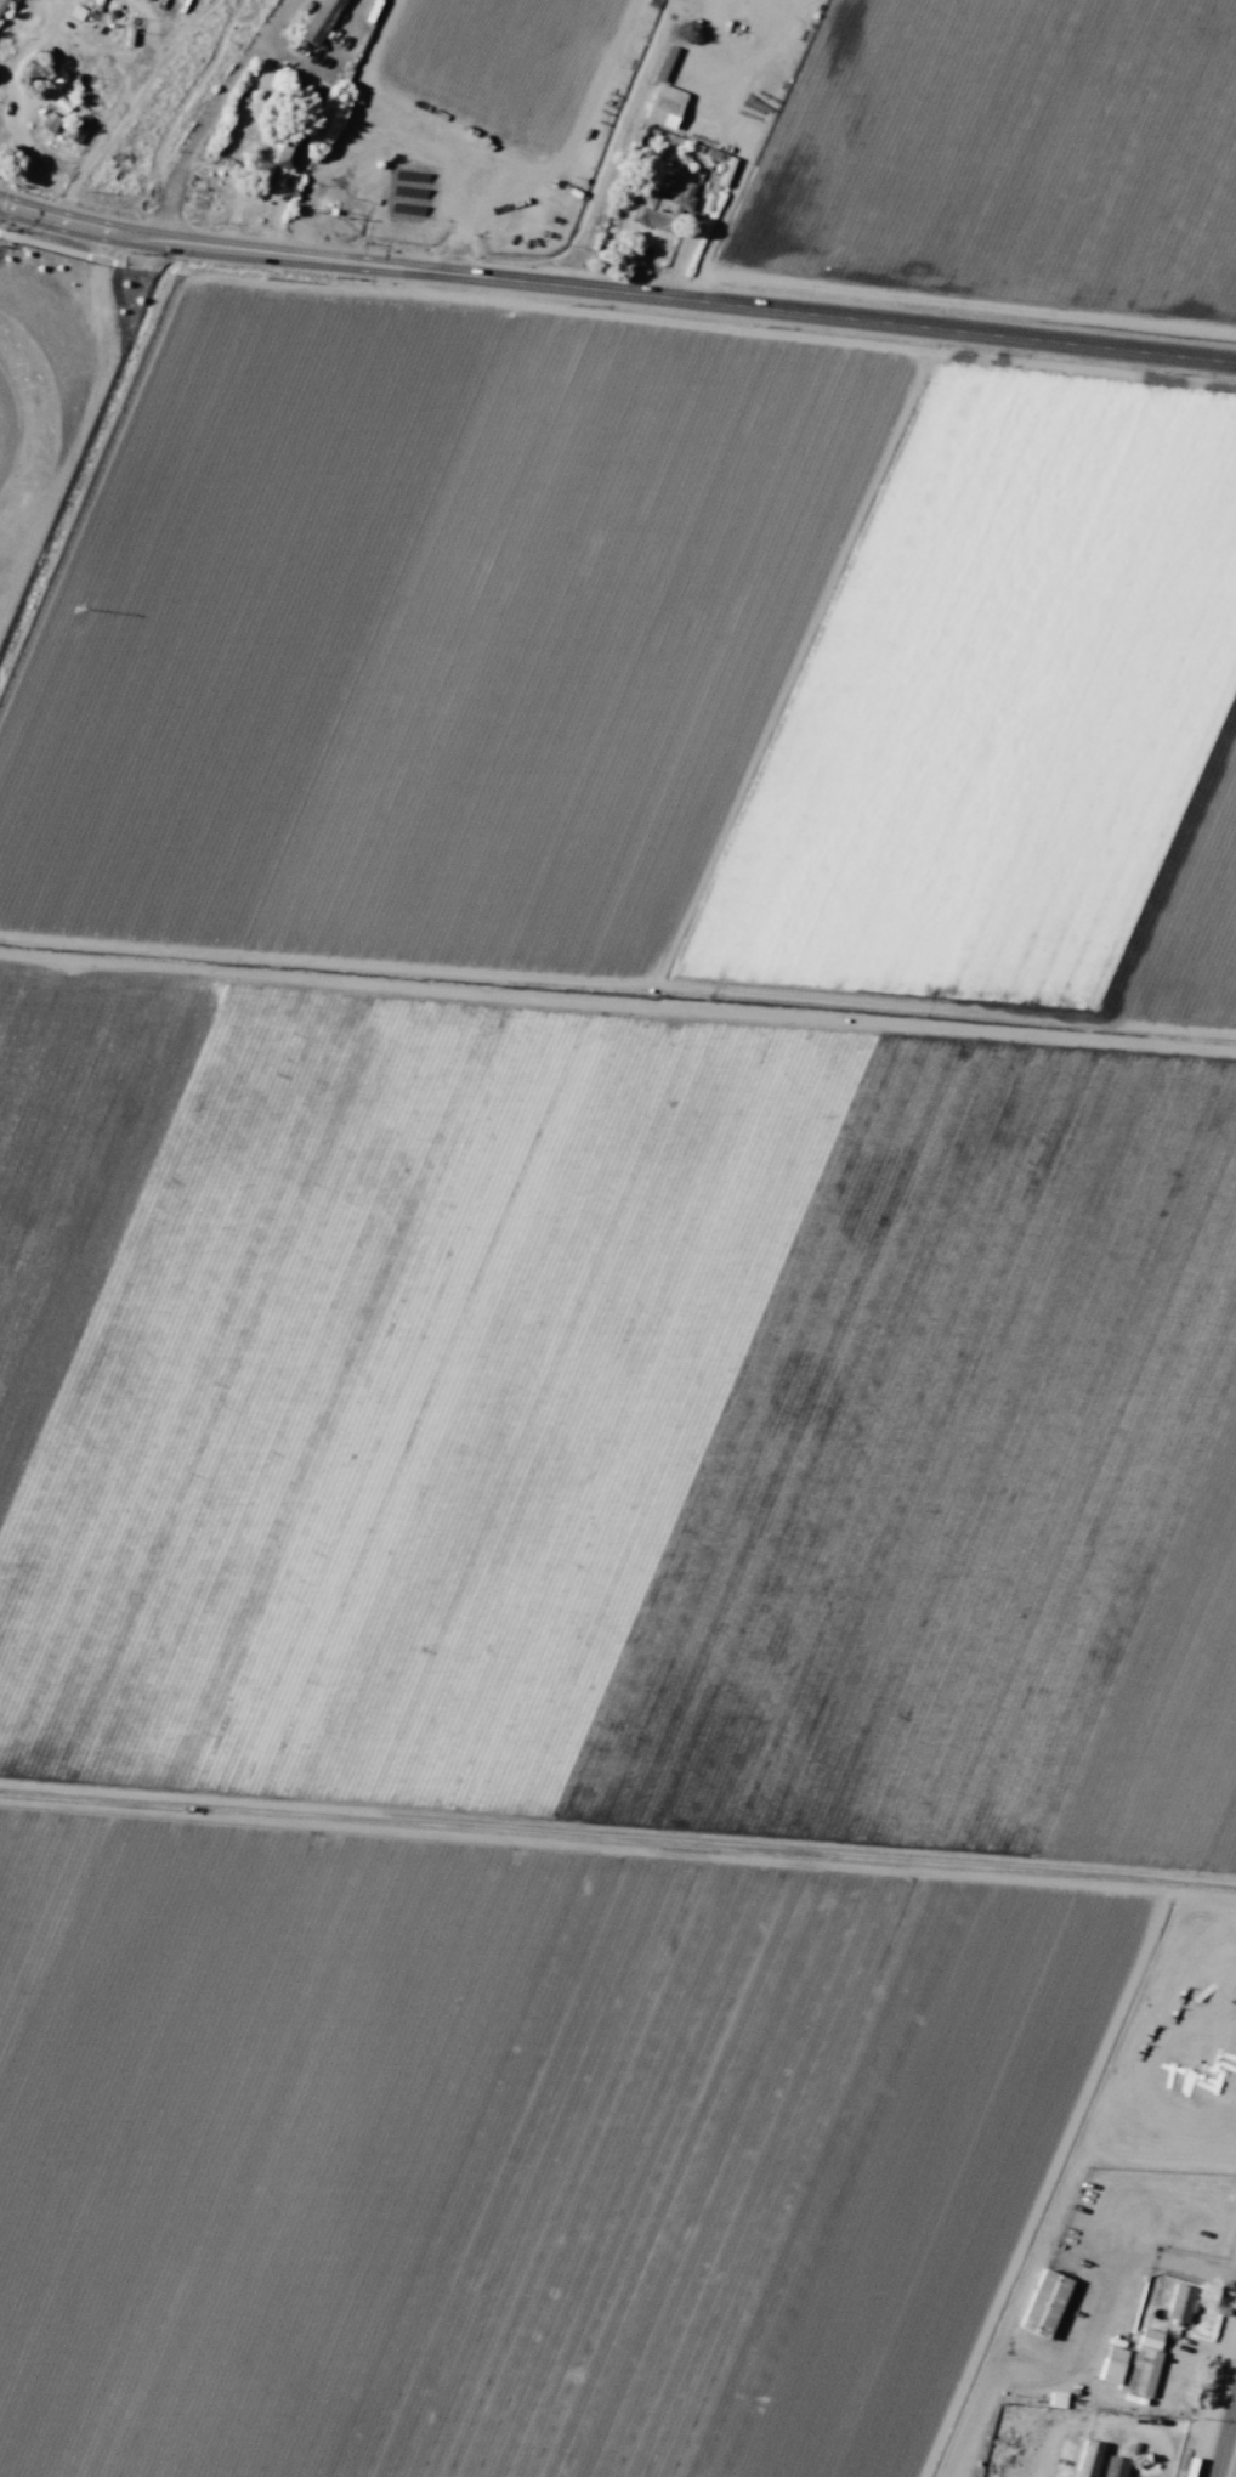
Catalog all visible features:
road: (273, 17)
crop: (491, 57)
road: (327, 69)
building: (665, 94)
building: (49, 121)
road: (195, 132)
building: (287, 151)
crop: (1003, 159)
building: (660, 207)
road: (616, 290)
crop: (605, 1387)
building: (1180, 2302)
building: (1043, 2303)
road: (1225, 2436)
building: (1087, 2459)
building: (1113, 2467)

